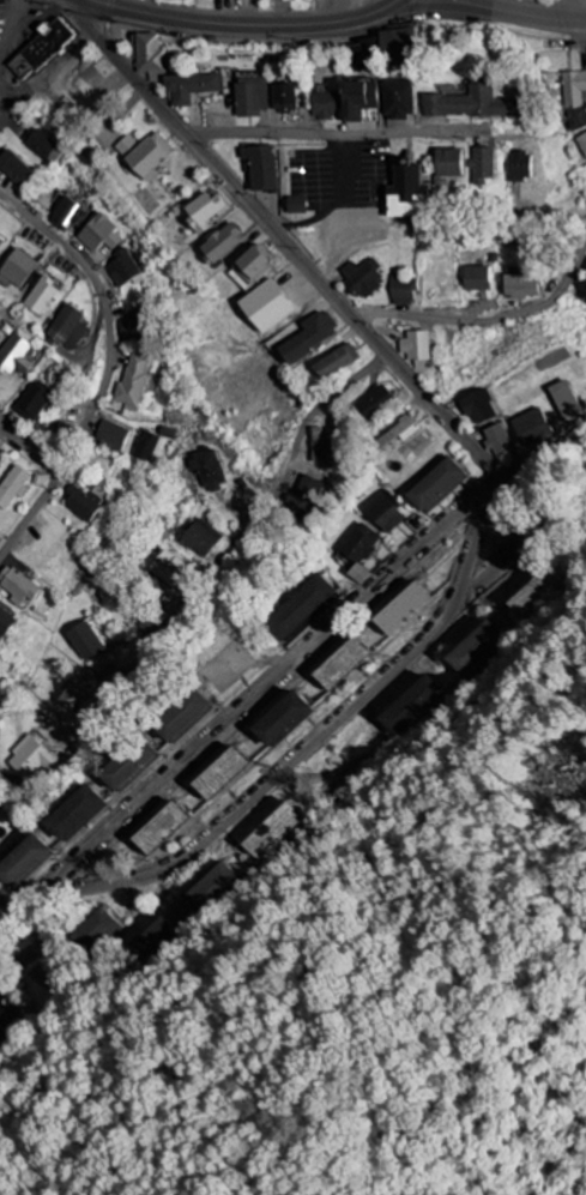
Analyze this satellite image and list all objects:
road: (575, 13)
road: (518, 18)
road: (247, 24)
building: (47, 47)
building: (399, 49)
building: (363, 53)
building: (152, 58)
building: (192, 86)
building: (575, 89)
building: (253, 96)
building: (285, 98)
building: (358, 99)
building: (399, 99)
building: (471, 104)
building: (326, 105)
road: (331, 135)
building: (582, 143)
building: (46, 147)
building: (146, 155)
building: (449, 162)
building: (483, 164)
building: (521, 167)
building: (262, 168)
building: (17, 169)
building: (406, 193)
building: (297, 205)
building: (204, 213)
building: (71, 216)
building: (101, 234)
road: (285, 237)
building: (224, 242)
building: (255, 264)
building: (126, 267)
building: (18, 268)
building: (363, 278)
building: (476, 278)
building: (520, 286)
building: (401, 289)
building: (43, 296)
building: (267, 307)
road: (110, 320)
road: (488, 322)
building: (131, 327)
building: (70, 328)
building: (310, 337)
building: (417, 349)
building: (17, 354)
building: (338, 362)
building: (135, 381)
building: (566, 399)
building: (36, 400)
building: (375, 404)
building: (479, 406)
building: (533, 428)
building: (400, 433)
building: (114, 436)
building: (500, 441)
building: (147, 446)
road: (34, 448)
building: (325, 451)
building: (1, 452)
building: (210, 469)
building: (436, 485)
building: (14, 487)
building: (303, 499)
building: (85, 503)
building: (387, 513)
road: (30, 518)
road: (252, 523)
building: (204, 538)
building: (518, 548)
building: (361, 551)
building: (173, 569)
building: (564, 585)
building: (19, 586)
building: (302, 609)
building: (401, 609)
building: (6, 622)
building: (87, 641)
building: (476, 647)
building: (340, 664)
road: (285, 669)
building: (80, 694)
building: (410, 707)
building: (182, 717)
building: (283, 719)
road: (319, 738)
building: (35, 759)
building: (129, 766)
building: (219, 774)
building: (77, 814)
building: (159, 828)
building: (276, 831)
building: (26, 863)
building: (1, 900)
building: (98, 925)
building: (8, 1027)

